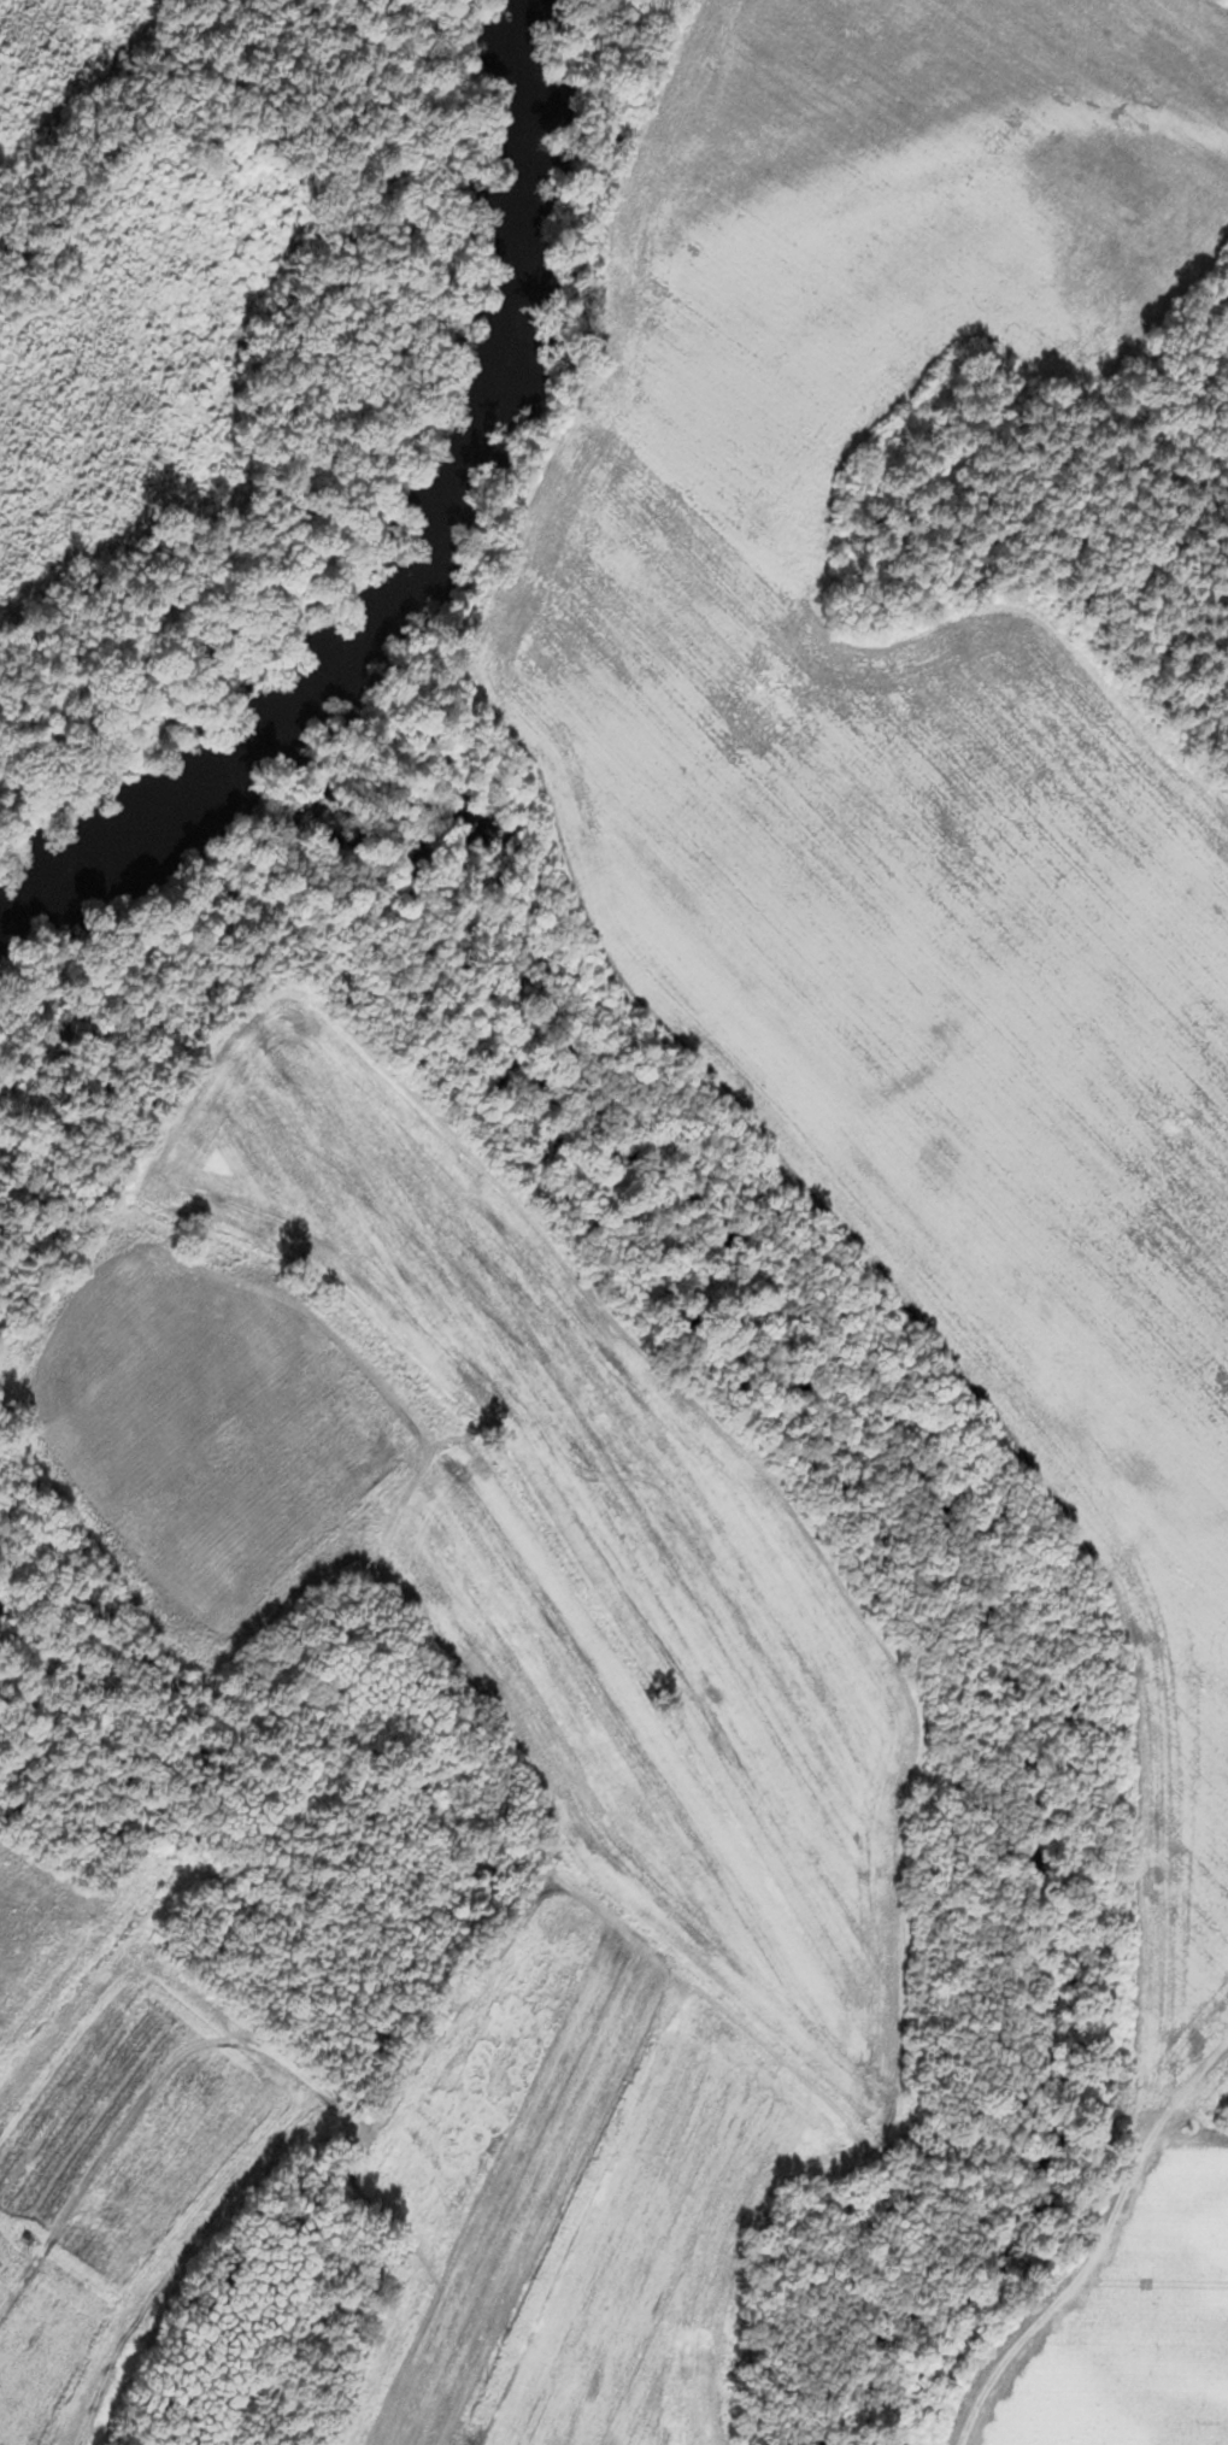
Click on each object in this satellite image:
river: (470, 407)
river: (125, 839)

